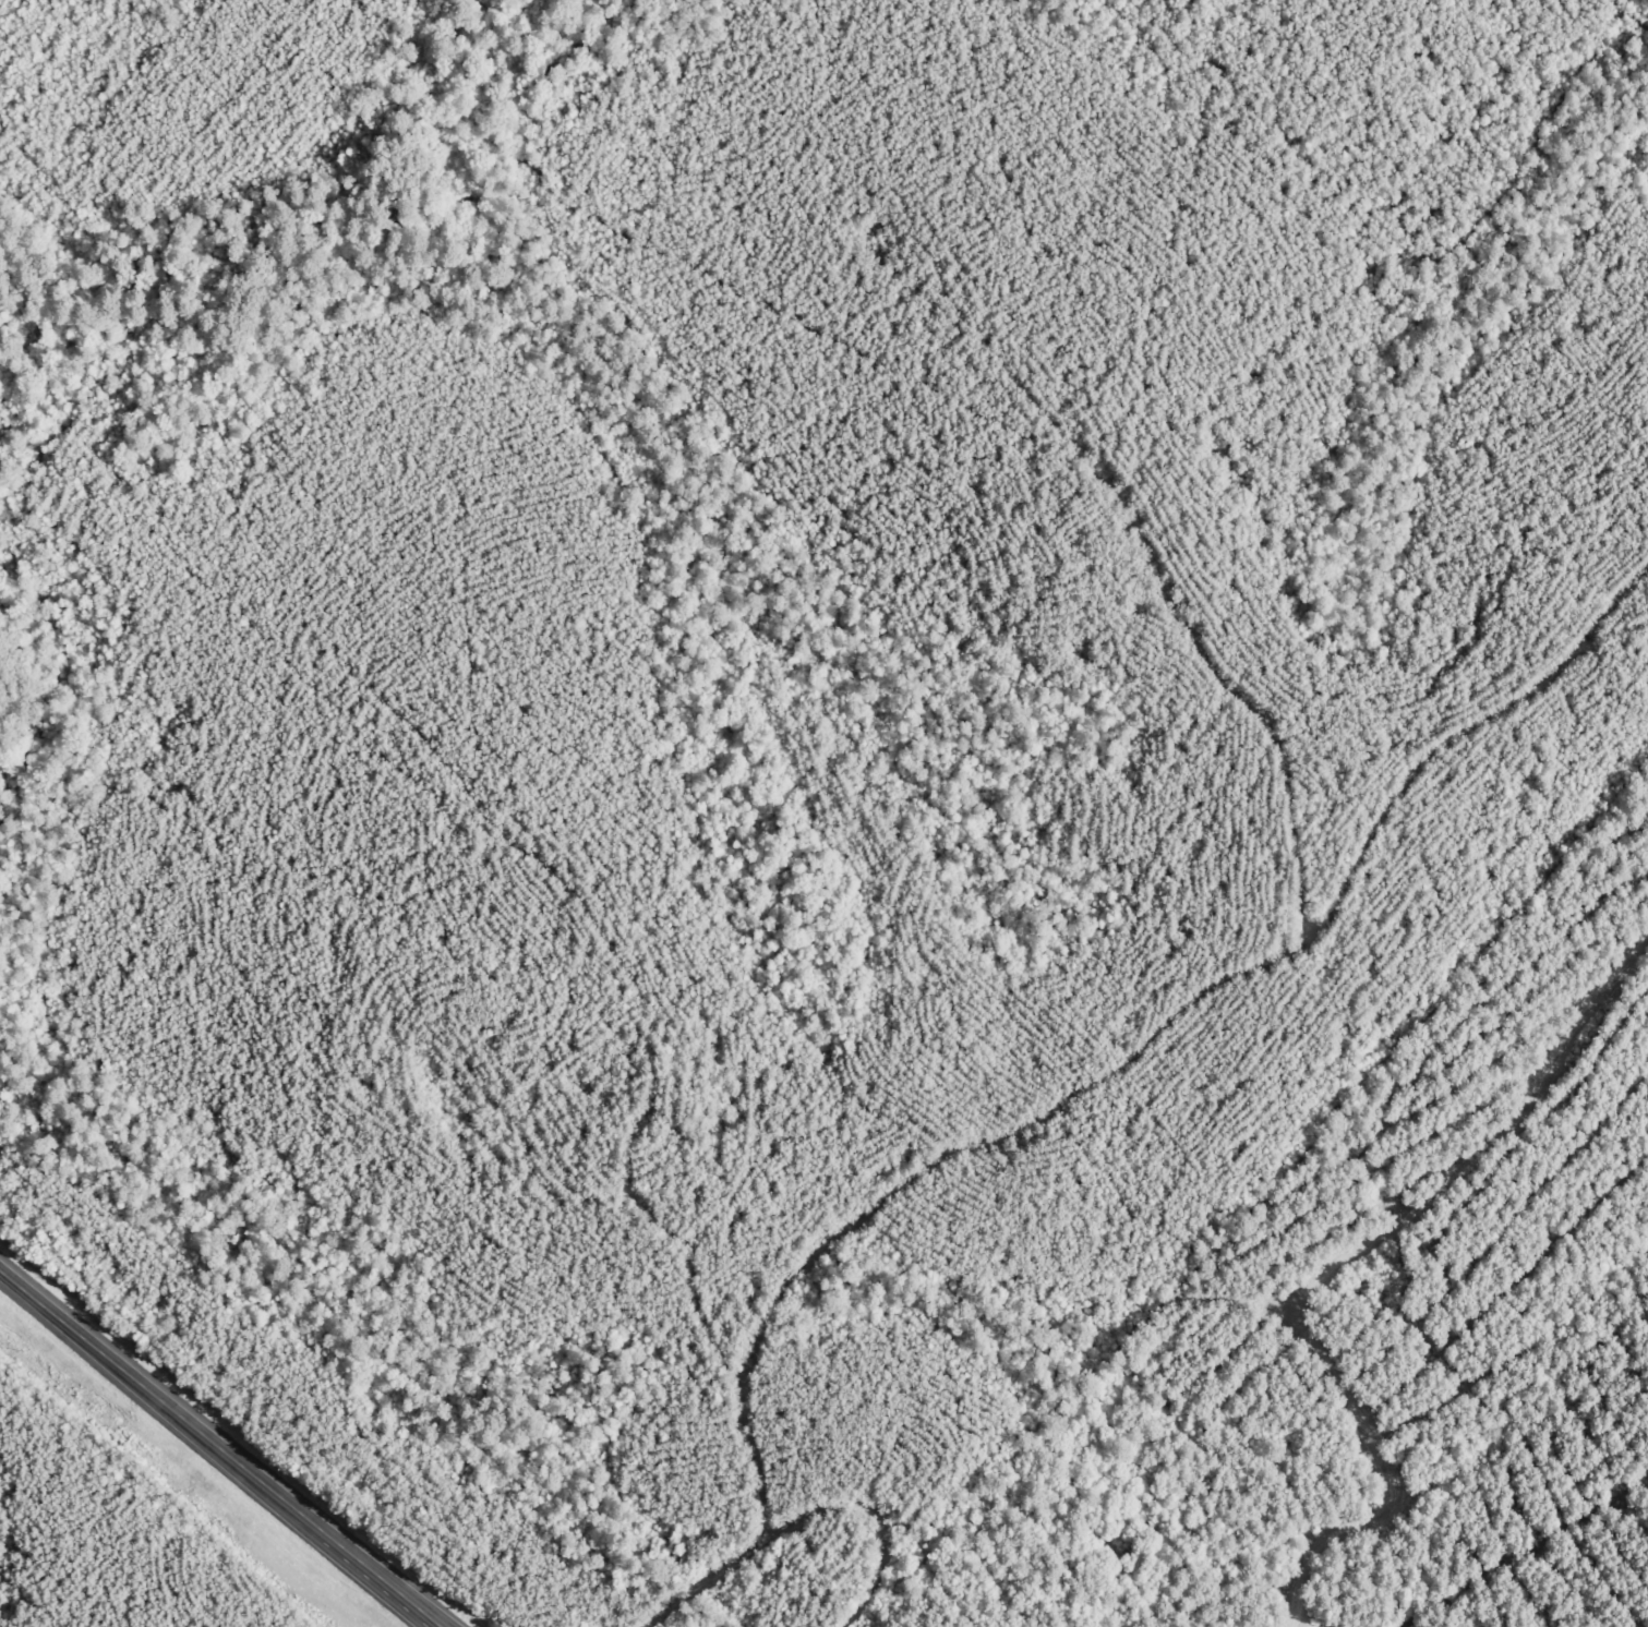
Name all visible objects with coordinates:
road: (220, 1446)

